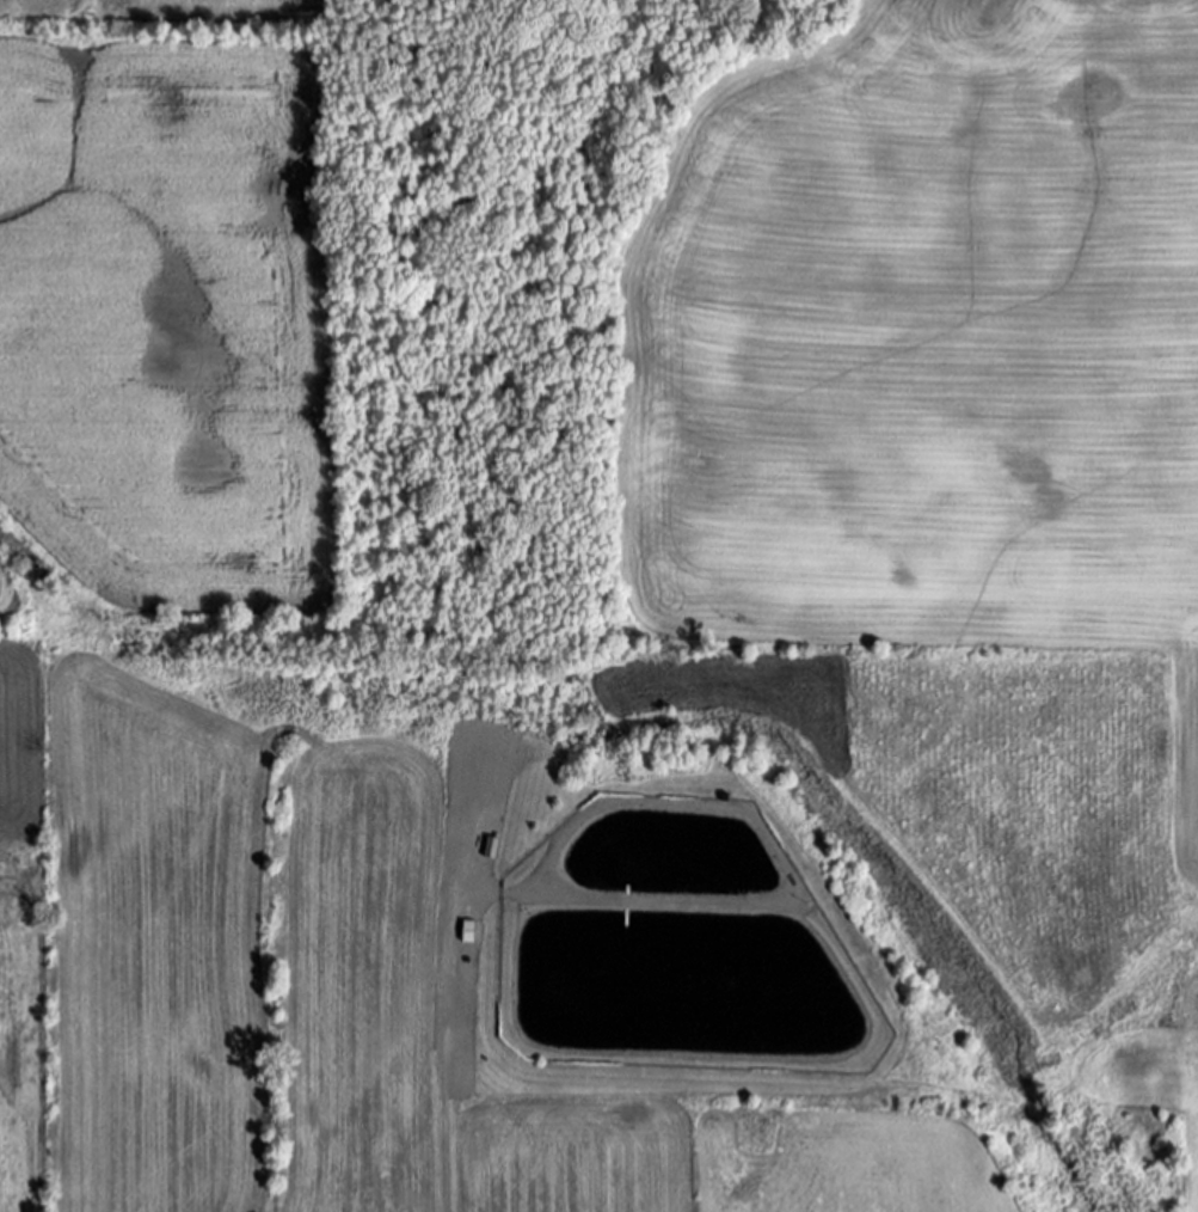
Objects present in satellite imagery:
building: (469, 931)

